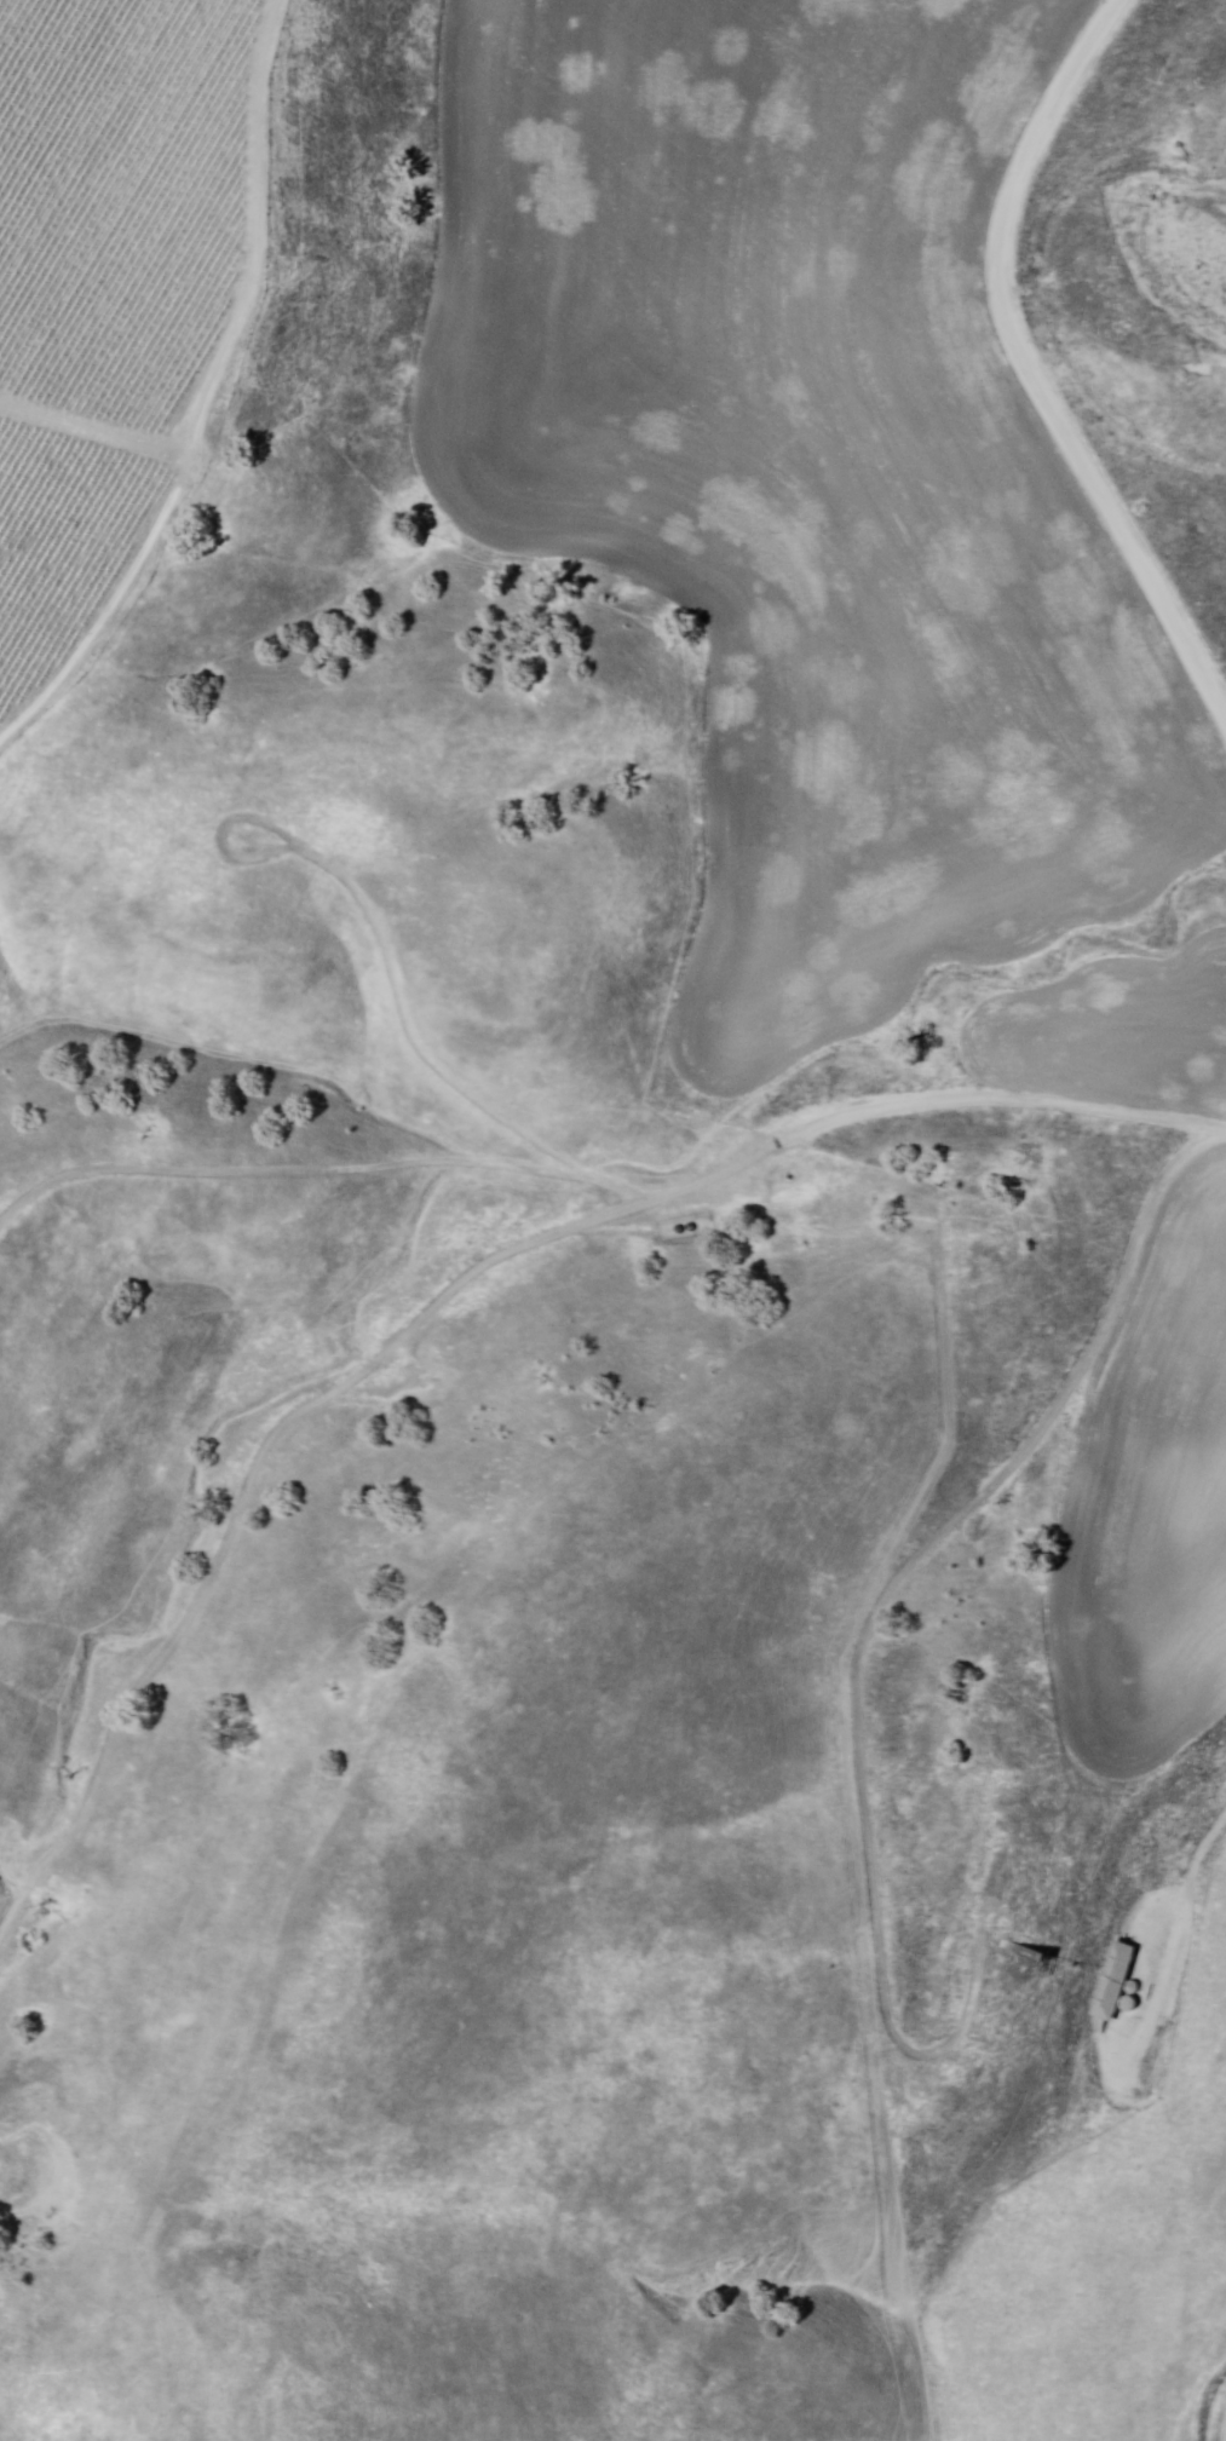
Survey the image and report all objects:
road: (1028, 373)
road: (614, 1181)
road: (248, 1484)
road: (867, 1640)
building: (1112, 1982)
storage tank: (1133, 1988)
storage tank: (1127, 2004)

